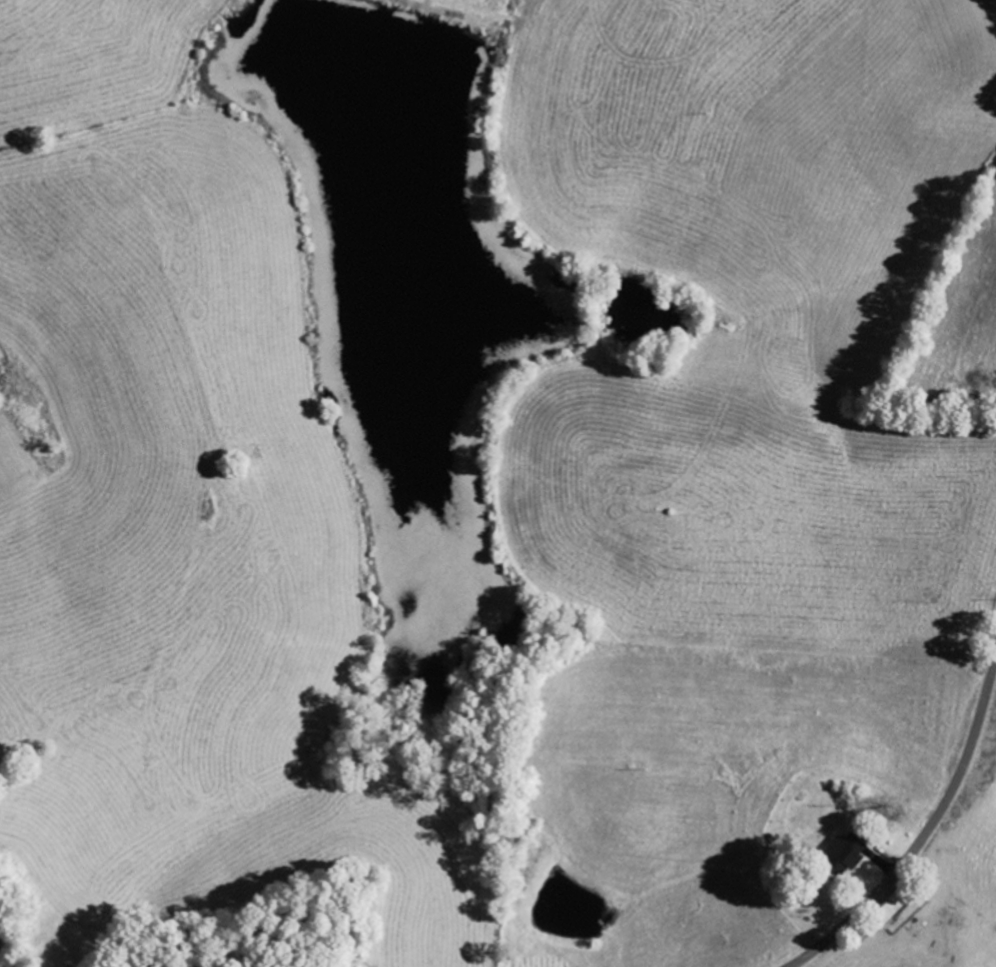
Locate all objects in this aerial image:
road: (924, 835)
building: (846, 853)
road: (9, 953)

